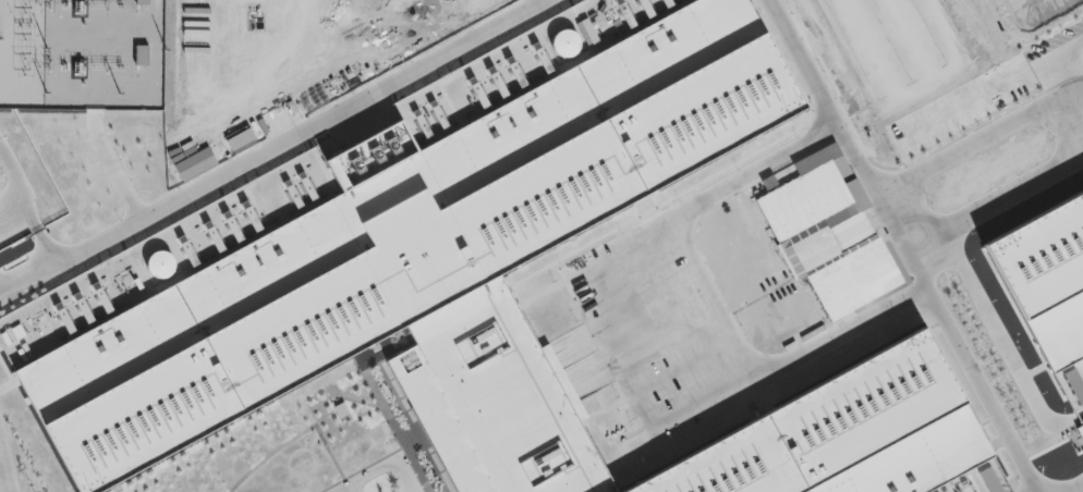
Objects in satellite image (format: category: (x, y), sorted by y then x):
power substation: (83, 53)
road: (1064, 61)
road: (796, 65)
road: (276, 146)
road: (972, 147)
road: (1023, 188)
road: (23, 210)
road: (642, 231)
building: (424, 269)
building: (1041, 284)
road: (978, 397)
building: (848, 432)
road: (378, 466)
parking lot: (375, 476)
road: (2, 479)
road: (1073, 485)

